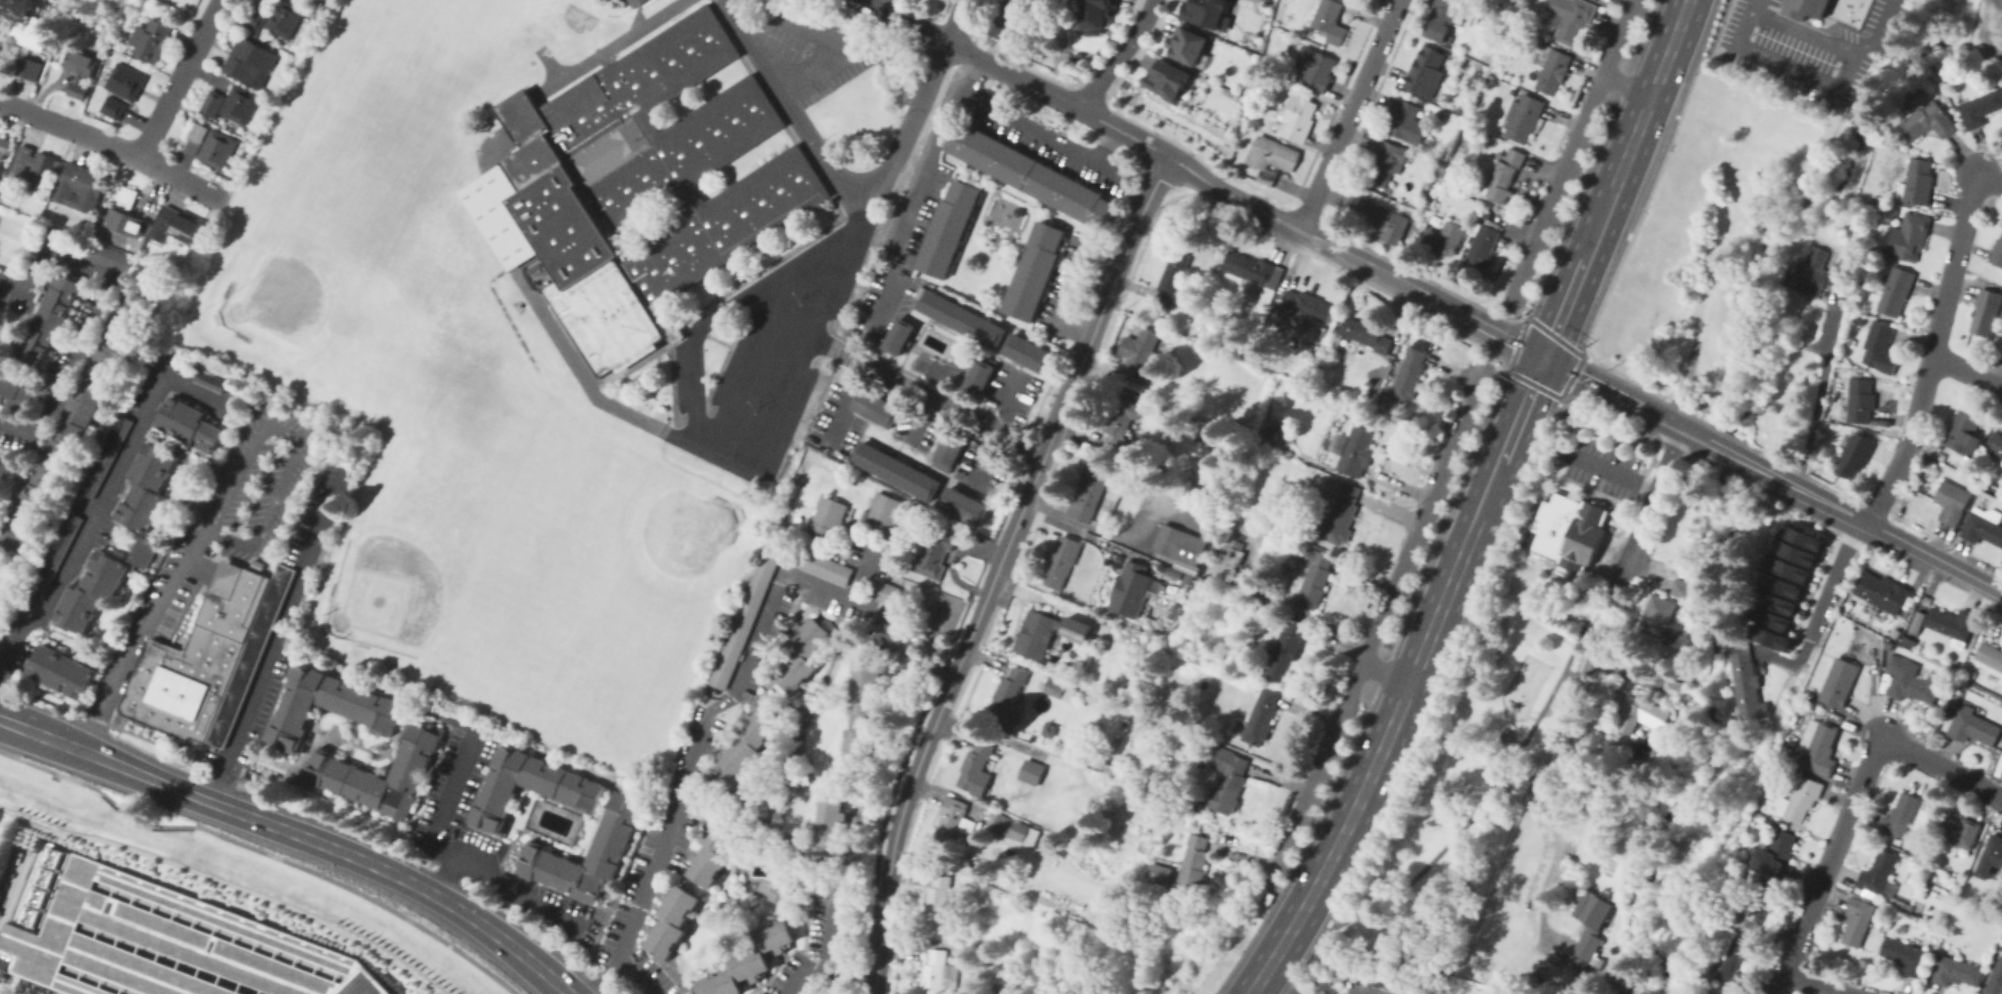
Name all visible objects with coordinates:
building: (1598, 0)
road: (2001, 0)
building: (632, 2)
road: (1757, 6)
building: (1809, 6)
road: (634, 13)
building: (1208, 13)
building: (1096, 14)
building: (287, 18)
park: (576, 18)
building: (1008, 18)
building: (1572, 18)
building: (257, 19)
building: (1444, 19)
building: (1, 21)
road: (906, 21)
building: (1330, 21)
road: (734, 22)
road: (957, 22)
road: (1984, 29)
road: (1882, 32)
building: (153, 38)
road: (818, 40)
building: (1188, 45)
road: (610, 46)
building: (27, 47)
parking lot: (811, 54)
road: (1119, 55)
road: (881, 58)
building: (254, 60)
road: (547, 64)
building: (1316, 68)
building: (80, 71)
building: (1426, 71)
building: (1554, 71)
road: (177, 79)
building: (1169, 79)
building: (123, 80)
park: (403, 80)
road: (1840, 85)
road: (1626, 86)
road: (1060, 99)
building: (215, 103)
building: (243, 103)
road: (786, 105)
building: (113, 107)
building: (1462, 108)
building: (1980, 108)
road: (1349, 115)
building: (1524, 117)
building: (199, 118)
building: (521, 118)
building: (1299, 118)
building: (1406, 121)
building: (1927, 123)
building: (485, 125)
building: (200, 132)
road: (1046, 136)
road: (107, 144)
road: (1109, 146)
building: (4, 149)
building: (219, 149)
road: (1574, 149)
road: (934, 155)
building: (1271, 158)
building: (1386, 162)
building: (37, 167)
building: (1501, 172)
building: (1033, 176)
road: (476, 181)
building: (1918, 182)
building: (646, 183)
road: (1993, 183)
building: (78, 188)
road: (878, 190)
building: (128, 195)
road: (844, 195)
road: (1234, 195)
building: (498, 214)
building: (1378, 218)
building: (125, 221)
building: (176, 227)
building: (950, 229)
building: (95, 231)
building: (1907, 237)
building: (1444, 239)
building: (1859, 240)
building: (1484, 244)
building: (88, 249)
building: (1997, 252)
building: (142, 253)
road: (756, 271)
building: (1036, 272)
building: (1821, 273)
road: (739, 274)
building: (1256, 275)
building: (1172, 280)
park: (326, 282)
building: (1896, 291)
road: (1420, 293)
parking lot: (14, 299)
road: (1072, 302)
building: (657, 305)
road: (97, 307)
road: (13, 309)
road: (503, 310)
building: (1304, 310)
building: (1986, 313)
building: (48, 316)
building: (964, 319)
park: (429, 324)
road: (881, 325)
building: (1185, 325)
building: (665, 327)
building: (121, 330)
road: (1093, 330)
road: (18, 331)
road: (701, 333)
building: (674, 334)
parking lot: (69, 335)
building: (1365, 335)
building: (900, 337)
road: (667, 343)
building: (1139, 348)
building: (1880, 348)
road: (1932, 348)
road: (5, 349)
road: (725, 353)
building: (1029, 354)
parking lot: (767, 355)
road: (1510, 355)
building: (635, 356)
traffic signals: (1543, 356)
road: (751, 362)
road: (1966, 371)
building: (1410, 375)
building: (981, 377)
building: (208, 378)
road: (27, 381)
road: (588, 386)
road: (696, 386)
road: (1611, 391)
building: (16, 394)
road: (926, 398)
road: (924, 400)
building: (1861, 400)
road: (847, 404)
building: (878, 409)
building: (77, 410)
road: (1812, 410)
building: (189, 423)
building: (1122, 426)
road: (999, 429)
building: (1964, 431)
parking lot: (18, 440)
building: (1995, 444)
road: (11, 450)
building: (953, 450)
building: (1355, 451)
building: (1562, 451)
building: (105, 454)
road: (1734, 455)
building: (1854, 455)
building: (3, 468)
parking lot: (1601, 468)
road: (1614, 470)
building: (897, 472)
road: (21, 476)
building: (1987, 490)
building: (1087, 496)
road: (102, 498)
road: (220, 502)
building: (1952, 502)
road: (1828, 503)
building: (29, 504)
road: (1482, 504)
building: (966, 506)
building: (881, 513)
road: (1448, 513)
building: (826, 515)
building: (1341, 515)
road: (1423, 515)
building: (1554, 525)
building: (1982, 529)
building: (143, 535)
building: (1800, 536)
building: (1584, 538)
road: (1096, 539)
building: (1238, 544)
building: (1181, 547)
building: (935, 551)
building: (1793, 551)
building: (55, 552)
park: (442, 553)
park: (542, 554)
road: (1935, 556)
building: (1224, 561)
building: (1062, 562)
park: (602, 563)
building: (822, 566)
building: (1787, 566)
road: (1619, 572)
road: (1437, 574)
road: (862, 575)
building: (1314, 578)
building: (1190, 579)
road: (1836, 579)
building: (1779, 582)
building: (7, 583)
building: (1682, 589)
building: (882, 590)
building: (1132, 590)
building: (1882, 592)
building: (1774, 600)
building: (1767, 616)
building: (742, 617)
building: (1662, 618)
building: (1915, 621)
building: (1952, 624)
building: (1047, 630)
road: (277, 632)
building: (1896, 633)
building: (1770, 637)
building: (1910, 641)
building: (1889, 643)
building: (1284, 649)
building: (800, 652)
building: (200, 654)
building: (1990, 655)
building: (1955, 663)
building: (372, 667)
building: (60, 670)
road: (1383, 671)
road: (1385, 671)
building: (1971, 672)
building: (1911, 681)
building: (1839, 682)
building: (1964, 682)
building: (1747, 685)
building: (1055, 687)
building: (1677, 690)
road: (729, 694)
building: (1009, 696)
building: (324, 708)
building: (861, 711)
building: (1262, 717)
building: (1637, 720)
building: (1970, 727)
building: (1050, 730)
road: (927, 737)
building: (747, 748)
building: (1819, 750)
road: (105, 759)
road: (1544, 761)
building: (977, 769)
building: (1032, 772)
road: (1318, 773)
building: (376, 775)
building: (1228, 781)
park: (1461, 793)
building: (699, 797)
building: (1803, 798)
building: (494, 801)
road: (1853, 803)
road: (1473, 810)
building: (1901, 815)
building: (951, 823)
building: (1012, 827)
building: (829, 831)
building: (1957, 833)
road: (1304, 842)
building: (716, 849)
road: (263, 852)
road: (453, 855)
building: (587, 855)
building: (1777, 856)
building: (1991, 858)
building: (1194, 863)
building: (1159, 873)
building: (1881, 874)
road: (445, 875)
road: (400, 876)
building: (821, 880)
road: (228, 881)
building: (787, 886)
building: (941, 904)
building: (1899, 904)
building: (1760, 909)
building: (1858, 919)
building: (672, 921)
building: (1591, 924)
road: (831, 927)
building: (168, 944)
parking lot: (168, 944)
building: (1906, 956)
building: (750, 961)
building: (1737, 963)
road: (825, 968)
building: (1956, 971)
building: (936, 972)
road: (604, 974)
building: (1995, 980)
road: (1823, 983)
road: (875, 986)
road: (1272, 986)
road: (13, 988)
building: (1716, 989)

